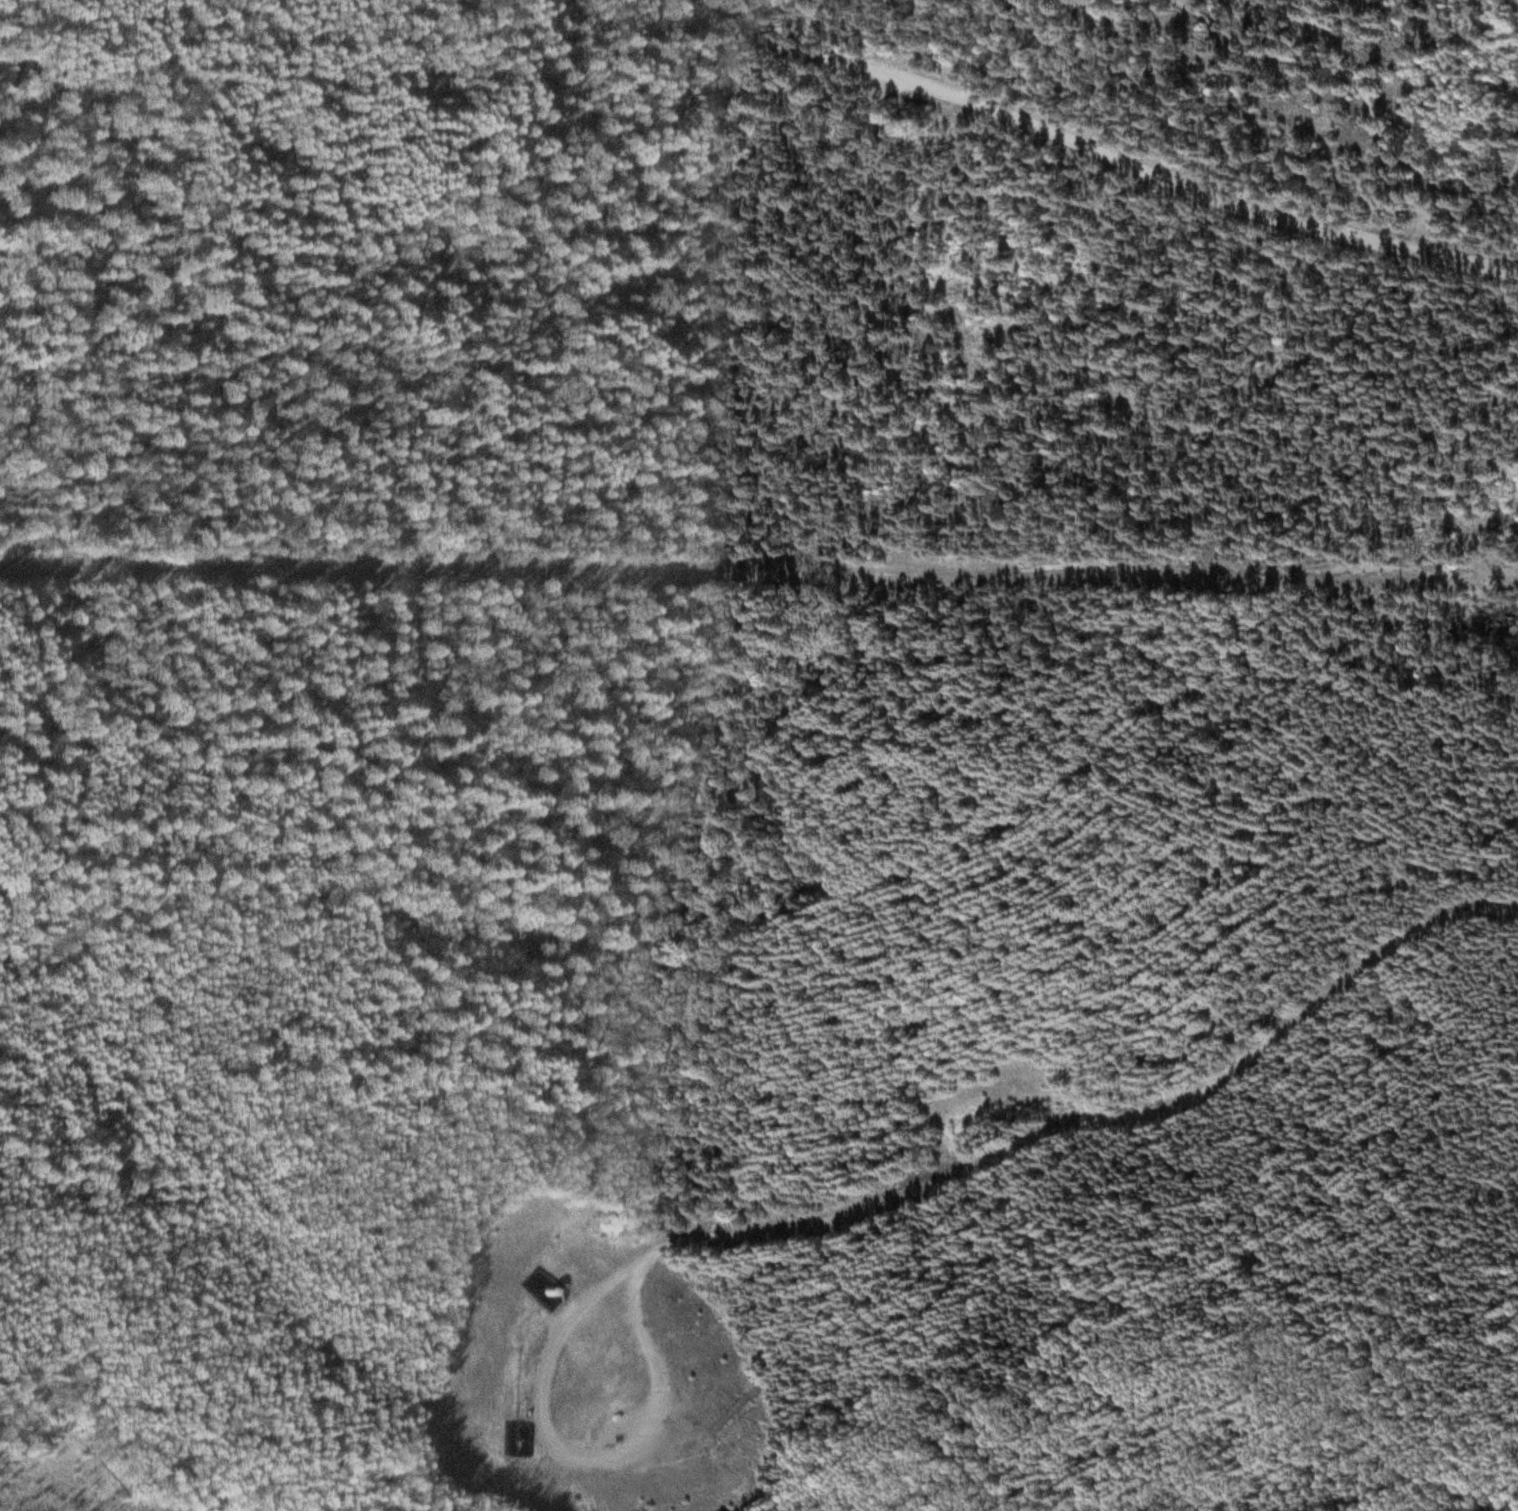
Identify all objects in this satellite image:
road: (43, 61)
road: (1367, 84)
road: (1106, 156)
road: (465, 323)
road: (384, 566)
road: (1144, 569)
road: (855, 1212)

